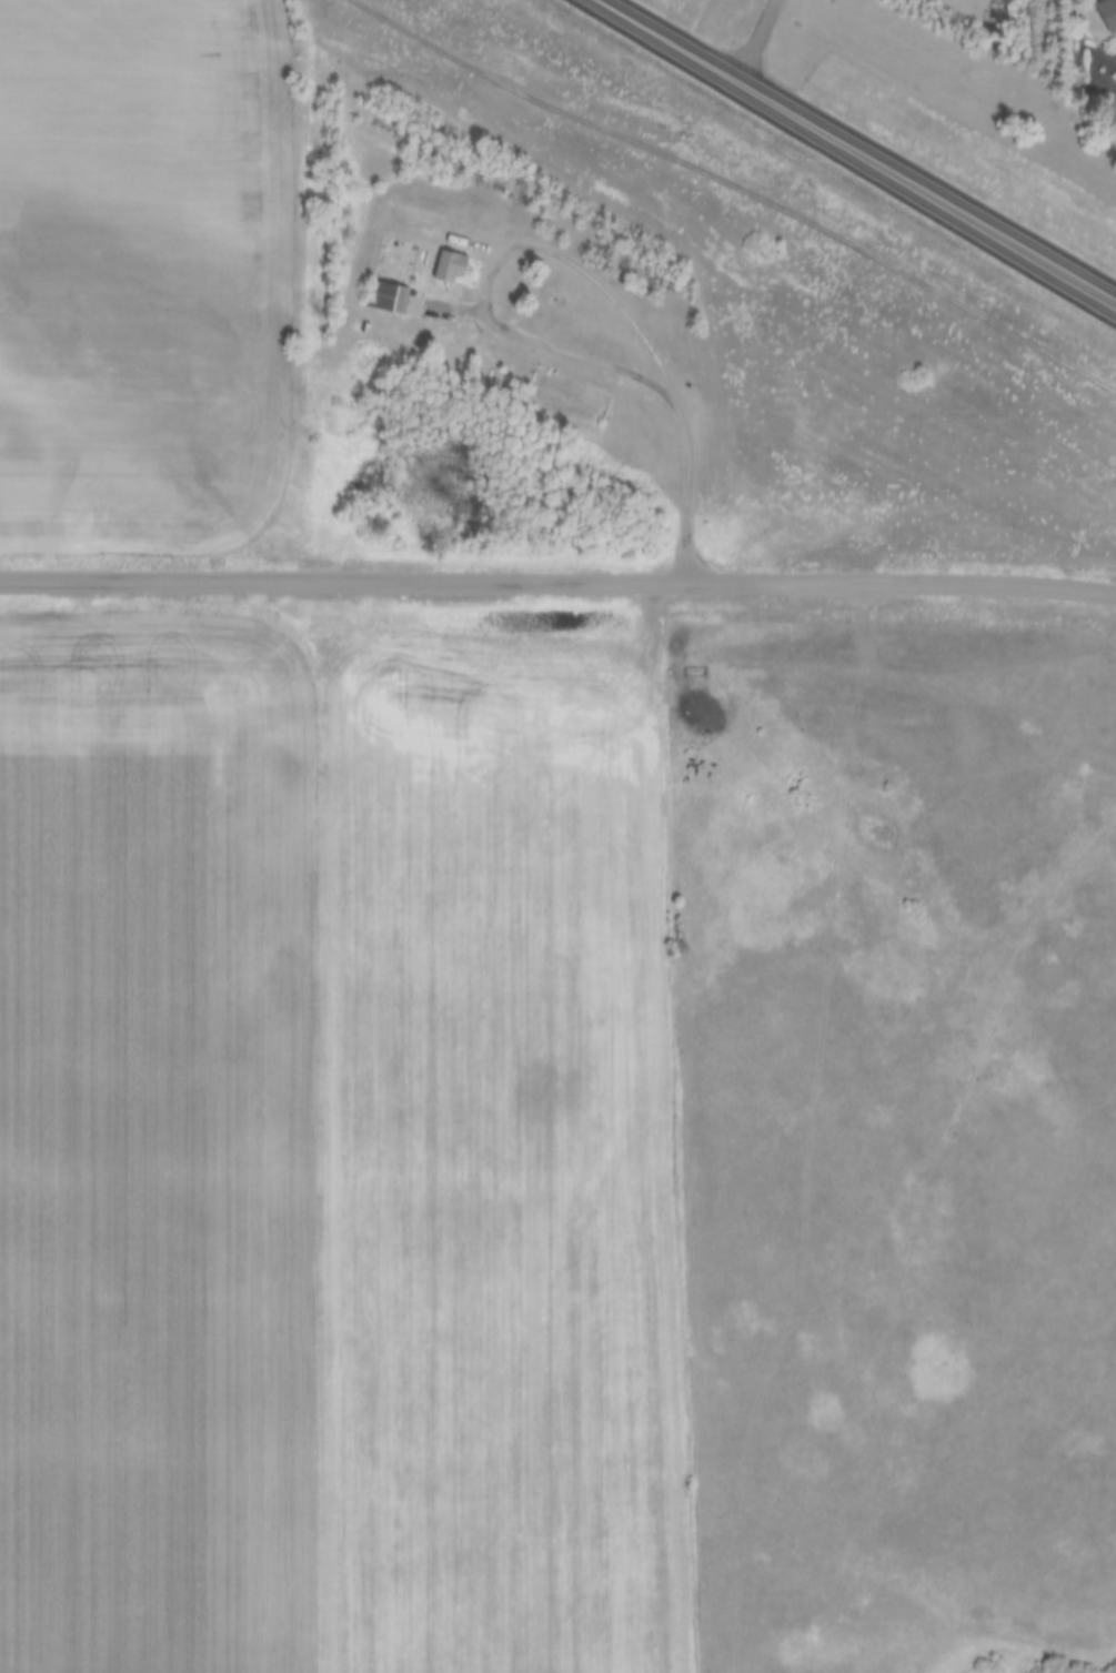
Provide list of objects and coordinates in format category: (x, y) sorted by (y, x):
building: (1107, 13)
road: (757, 39)
road: (859, 148)
building: (450, 265)
building: (392, 298)
road: (516, 331)
road: (557, 576)

